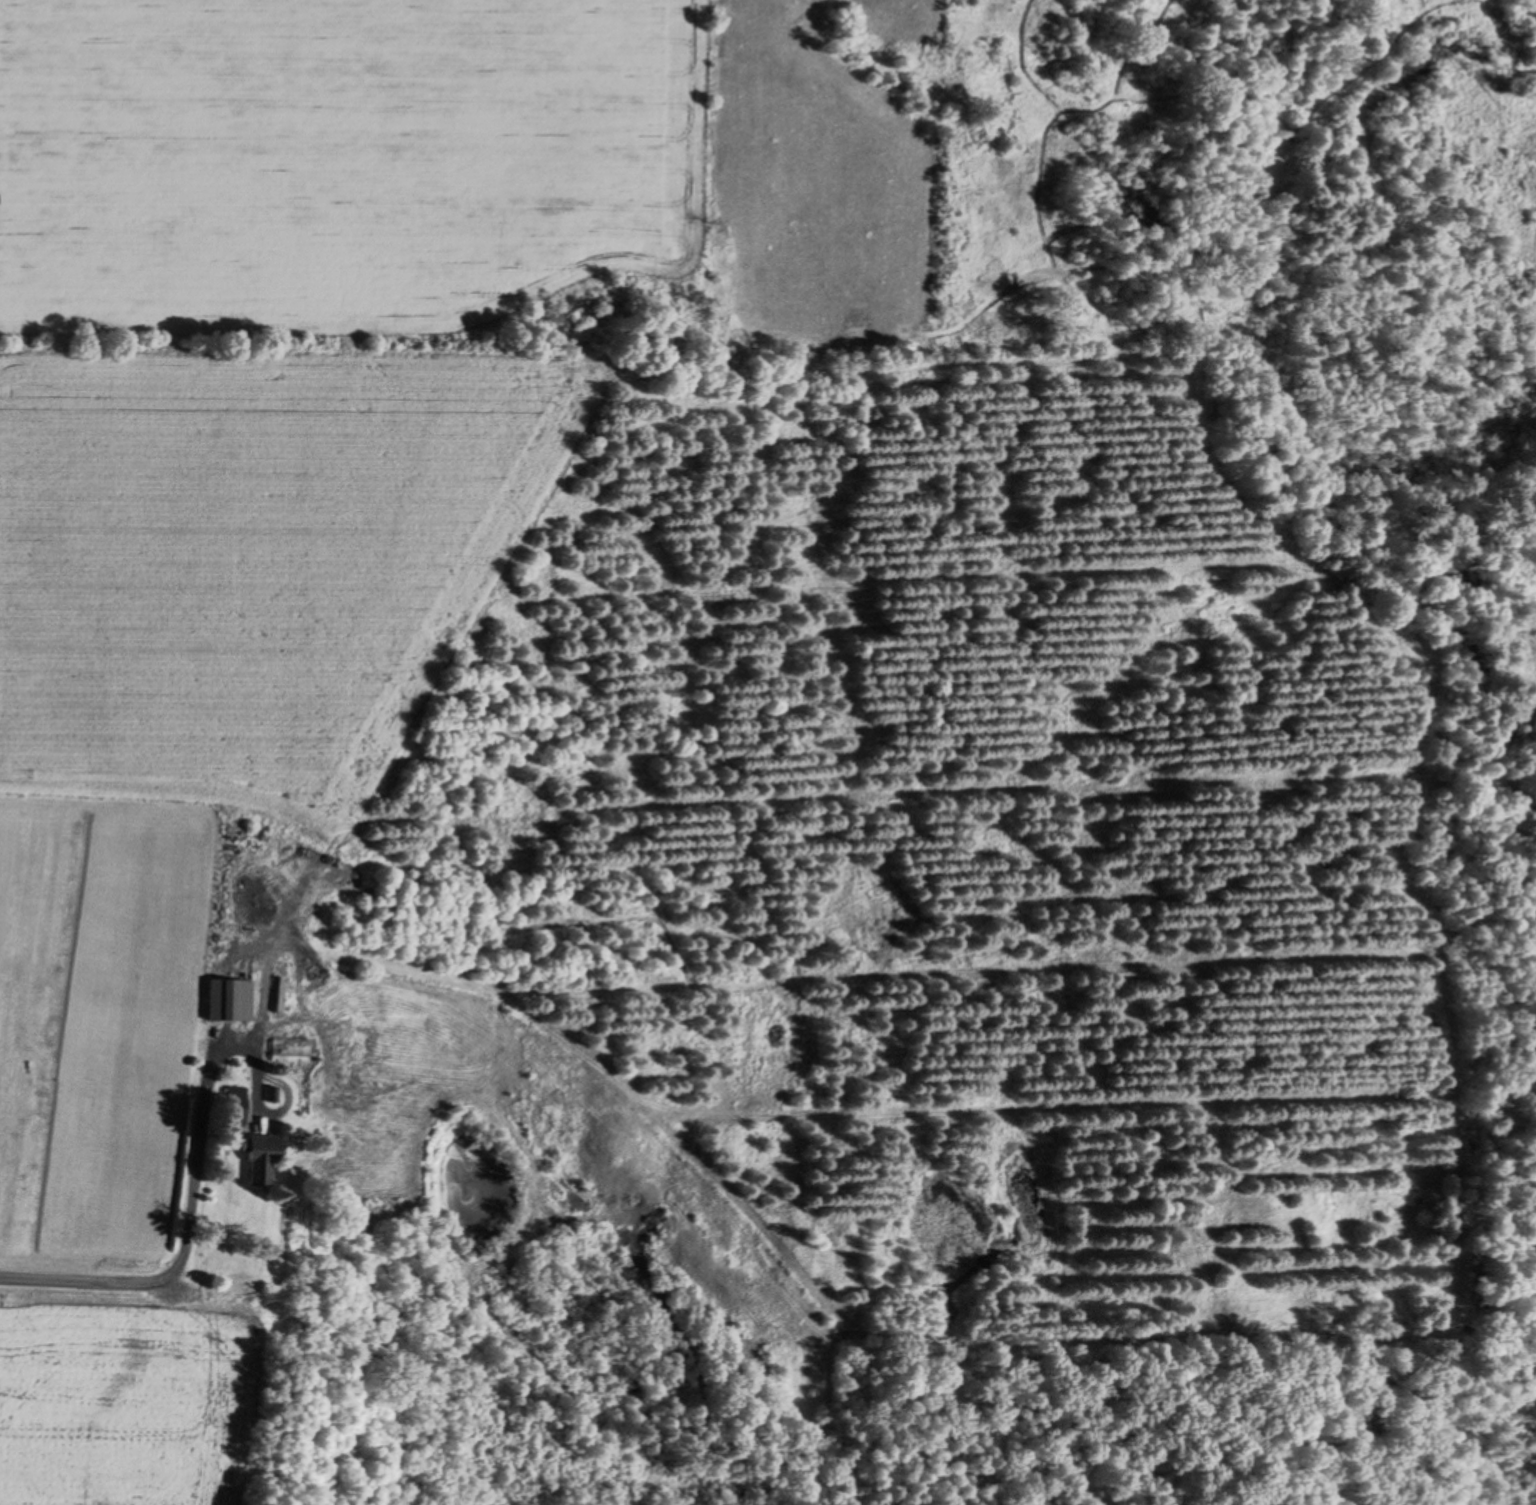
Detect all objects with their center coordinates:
building: (238, 831)
building: (232, 1000)
building: (294, 1050)
building: (238, 1108)
building: (265, 1158)
road: (173, 1324)

